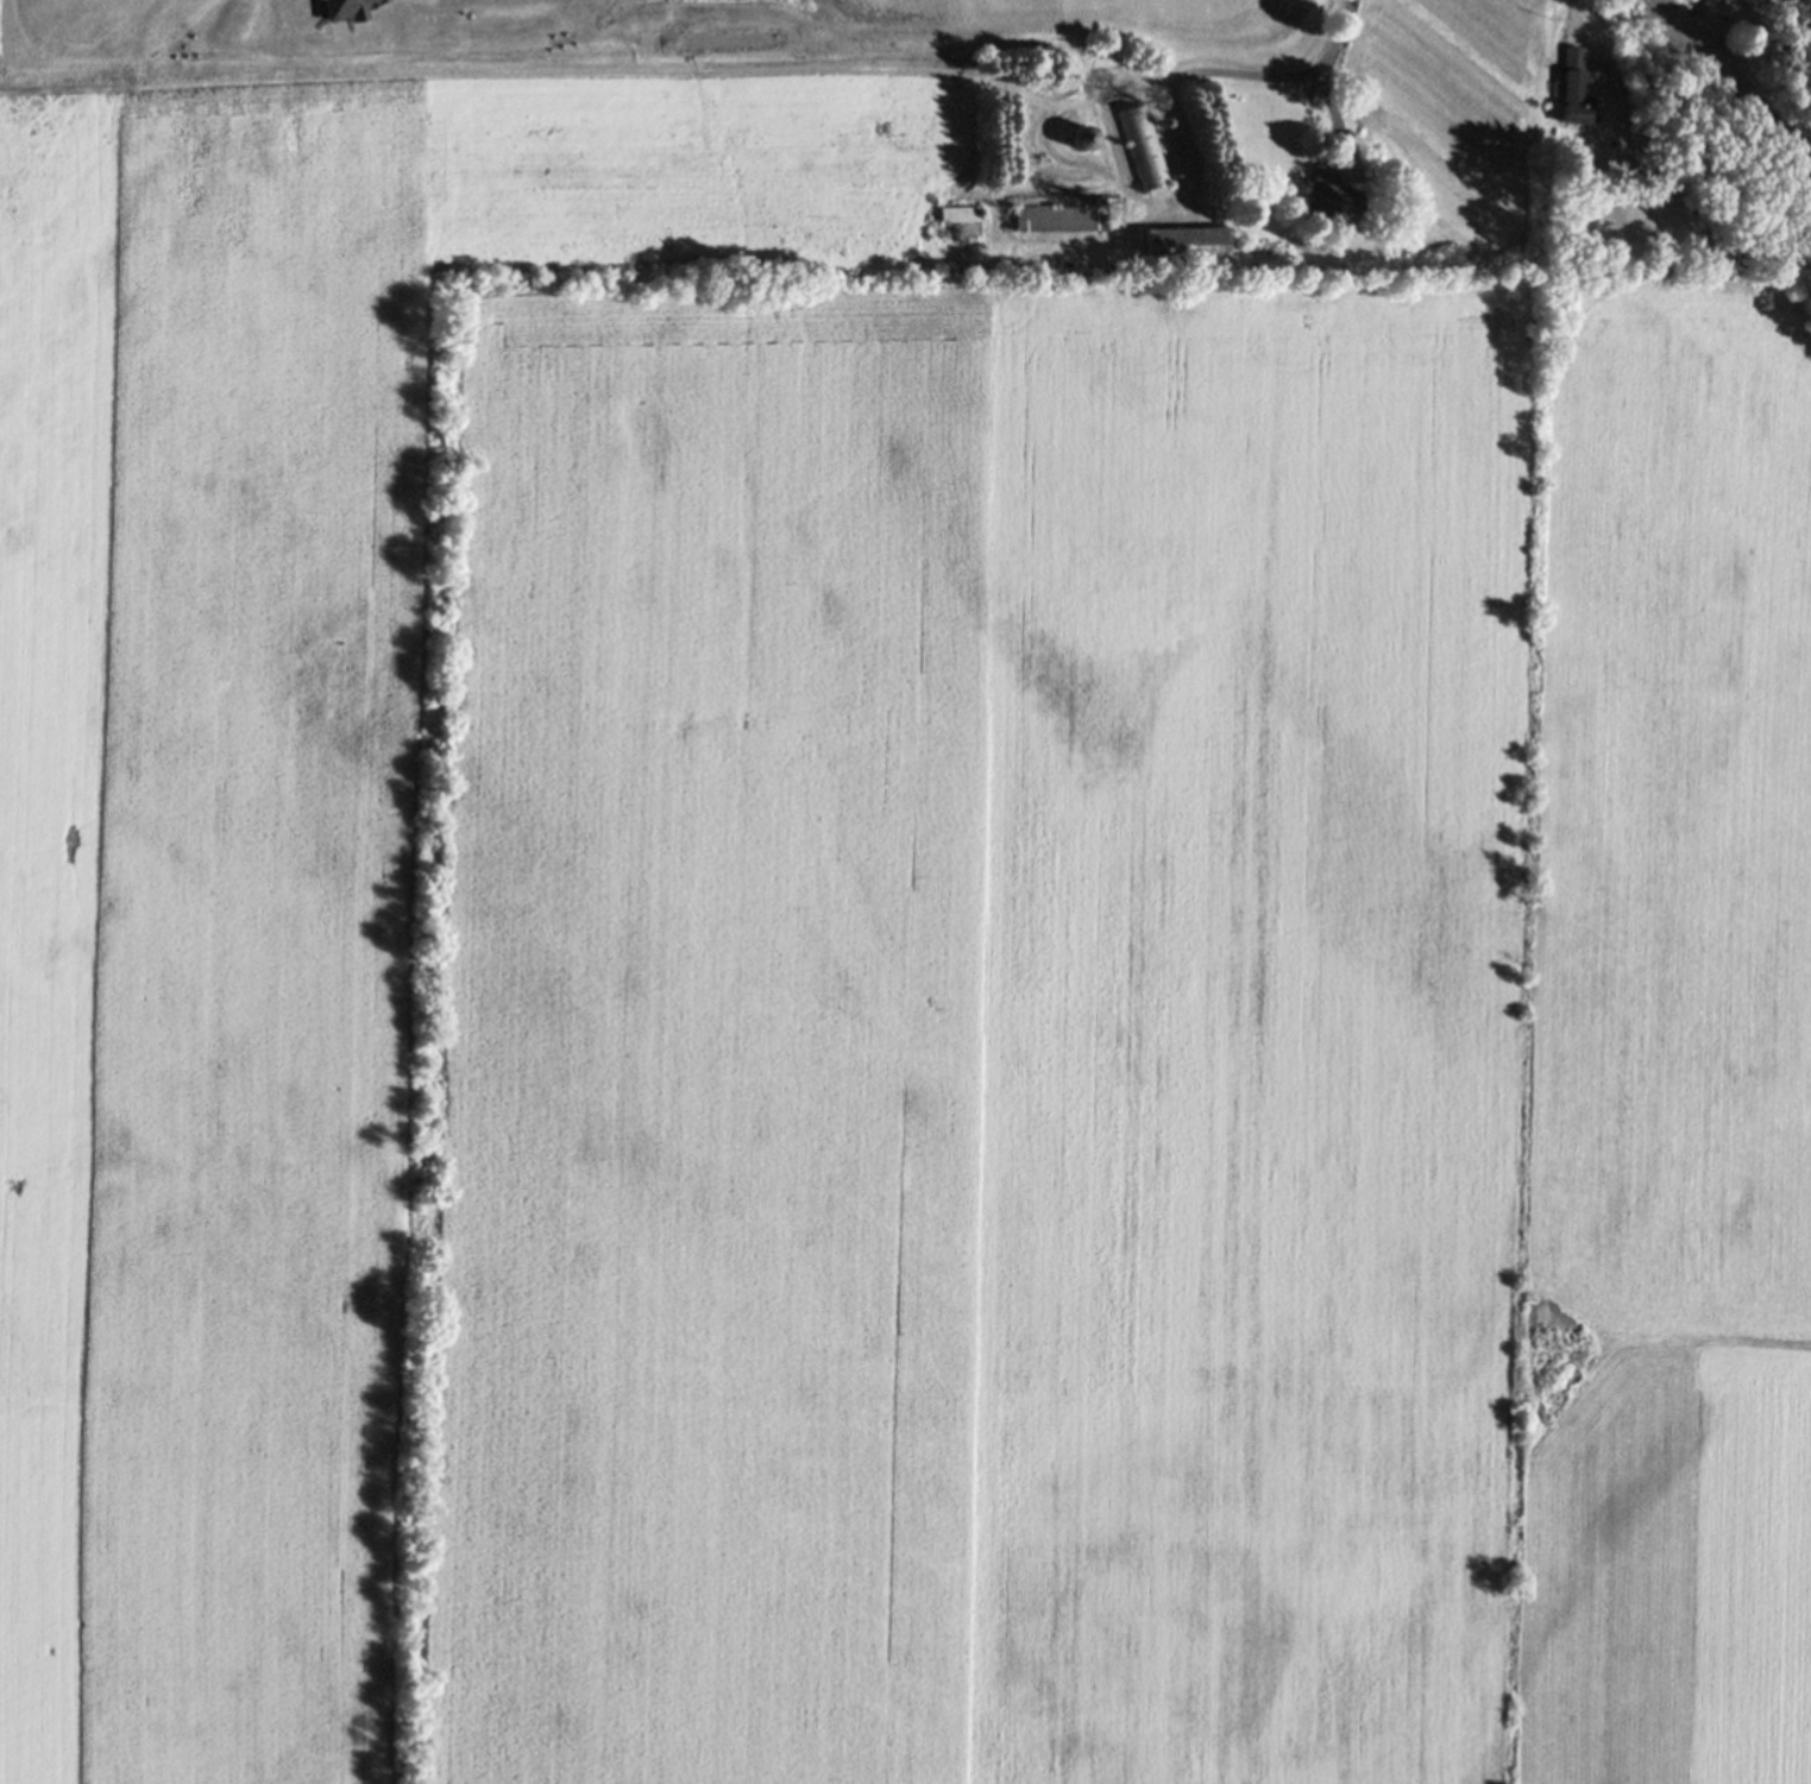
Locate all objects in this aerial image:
road: (1284, 76)
road: (1737, 84)
building: (1570, 86)
building: (1087, 138)
building: (1143, 147)
building: (1331, 195)
road: (1132, 197)
building: (958, 212)
building: (1059, 218)
building: (1184, 244)
crop: (870, 941)

